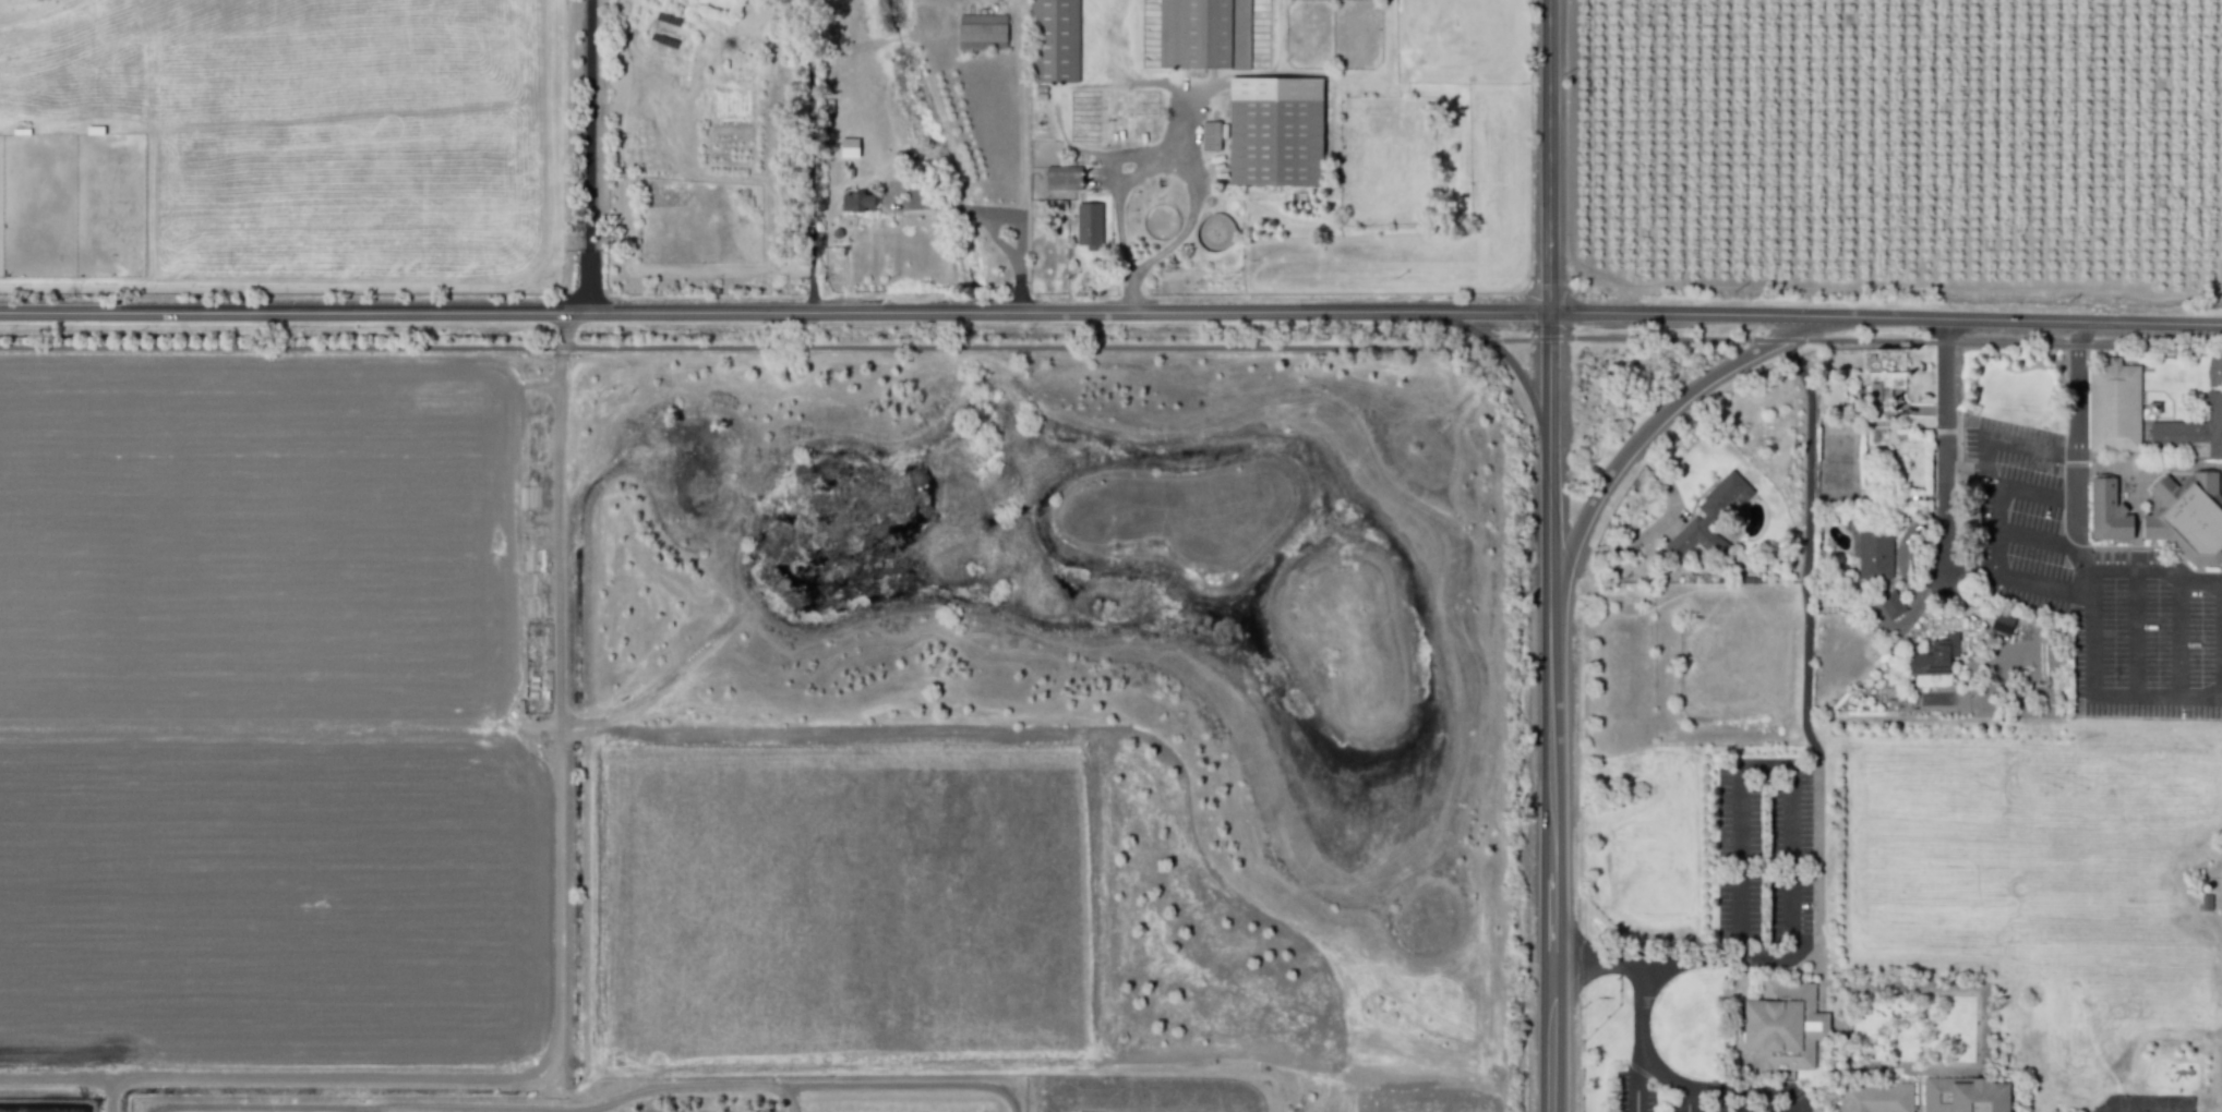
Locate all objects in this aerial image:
building: (983, 31)
building: (1204, 34)
building: (1055, 40)
building: (1116, 114)
building: (1276, 130)
building: (849, 147)
road: (810, 152)
road: (590, 155)
road: (1023, 160)
road: (1170, 168)
building: (1062, 177)
building: (857, 202)
road: (966, 213)
road: (1001, 217)
building: (1089, 223)
road: (1019, 288)
road: (1129, 295)
road: (774, 311)
road: (1885, 319)
road: (563, 340)
road: (1110, 347)
road: (1505, 354)
road: (2077, 390)
building: (1879, 392)
building: (2114, 407)
road: (1650, 420)
building: (2191, 432)
road: (1945, 443)
road: (2030, 448)
park: (1840, 459)
road: (1968, 470)
road: (2034, 495)
road: (2077, 496)
road: (1994, 506)
building: (2107, 510)
building: (1709, 517)
building: (2188, 517)
road: (1659, 523)
road: (2039, 541)
road: (1807, 545)
building: (1874, 554)
road: (2081, 554)
road: (1549, 555)
road: (1973, 570)
road: (2155, 572)
road: (2044, 582)
parking lot: (2093, 584)
building: (1891, 604)
building: (2001, 623)
road: (2090, 632)
road: (2136, 633)
road: (2179, 639)
road: (2221, 639)
building: (1934, 656)
road: (2157, 696)
parking lot: (1762, 851)
road: (1791, 861)
road: (1740, 862)
road: (1818, 938)
road: (1671, 959)
building: (1780, 1025)
road: (1982, 1025)
road: (1847, 1026)
road: (1677, 1081)
road: (905, 1085)
road: (1636, 1086)
building: (1965, 1095)
parking lot: (1678, 1098)
building: (1875, 1098)
road: (1690, 1100)
road: (1739, 1101)
road: (590, 1103)
road: (266, 1105)
road: (556, 1111)

